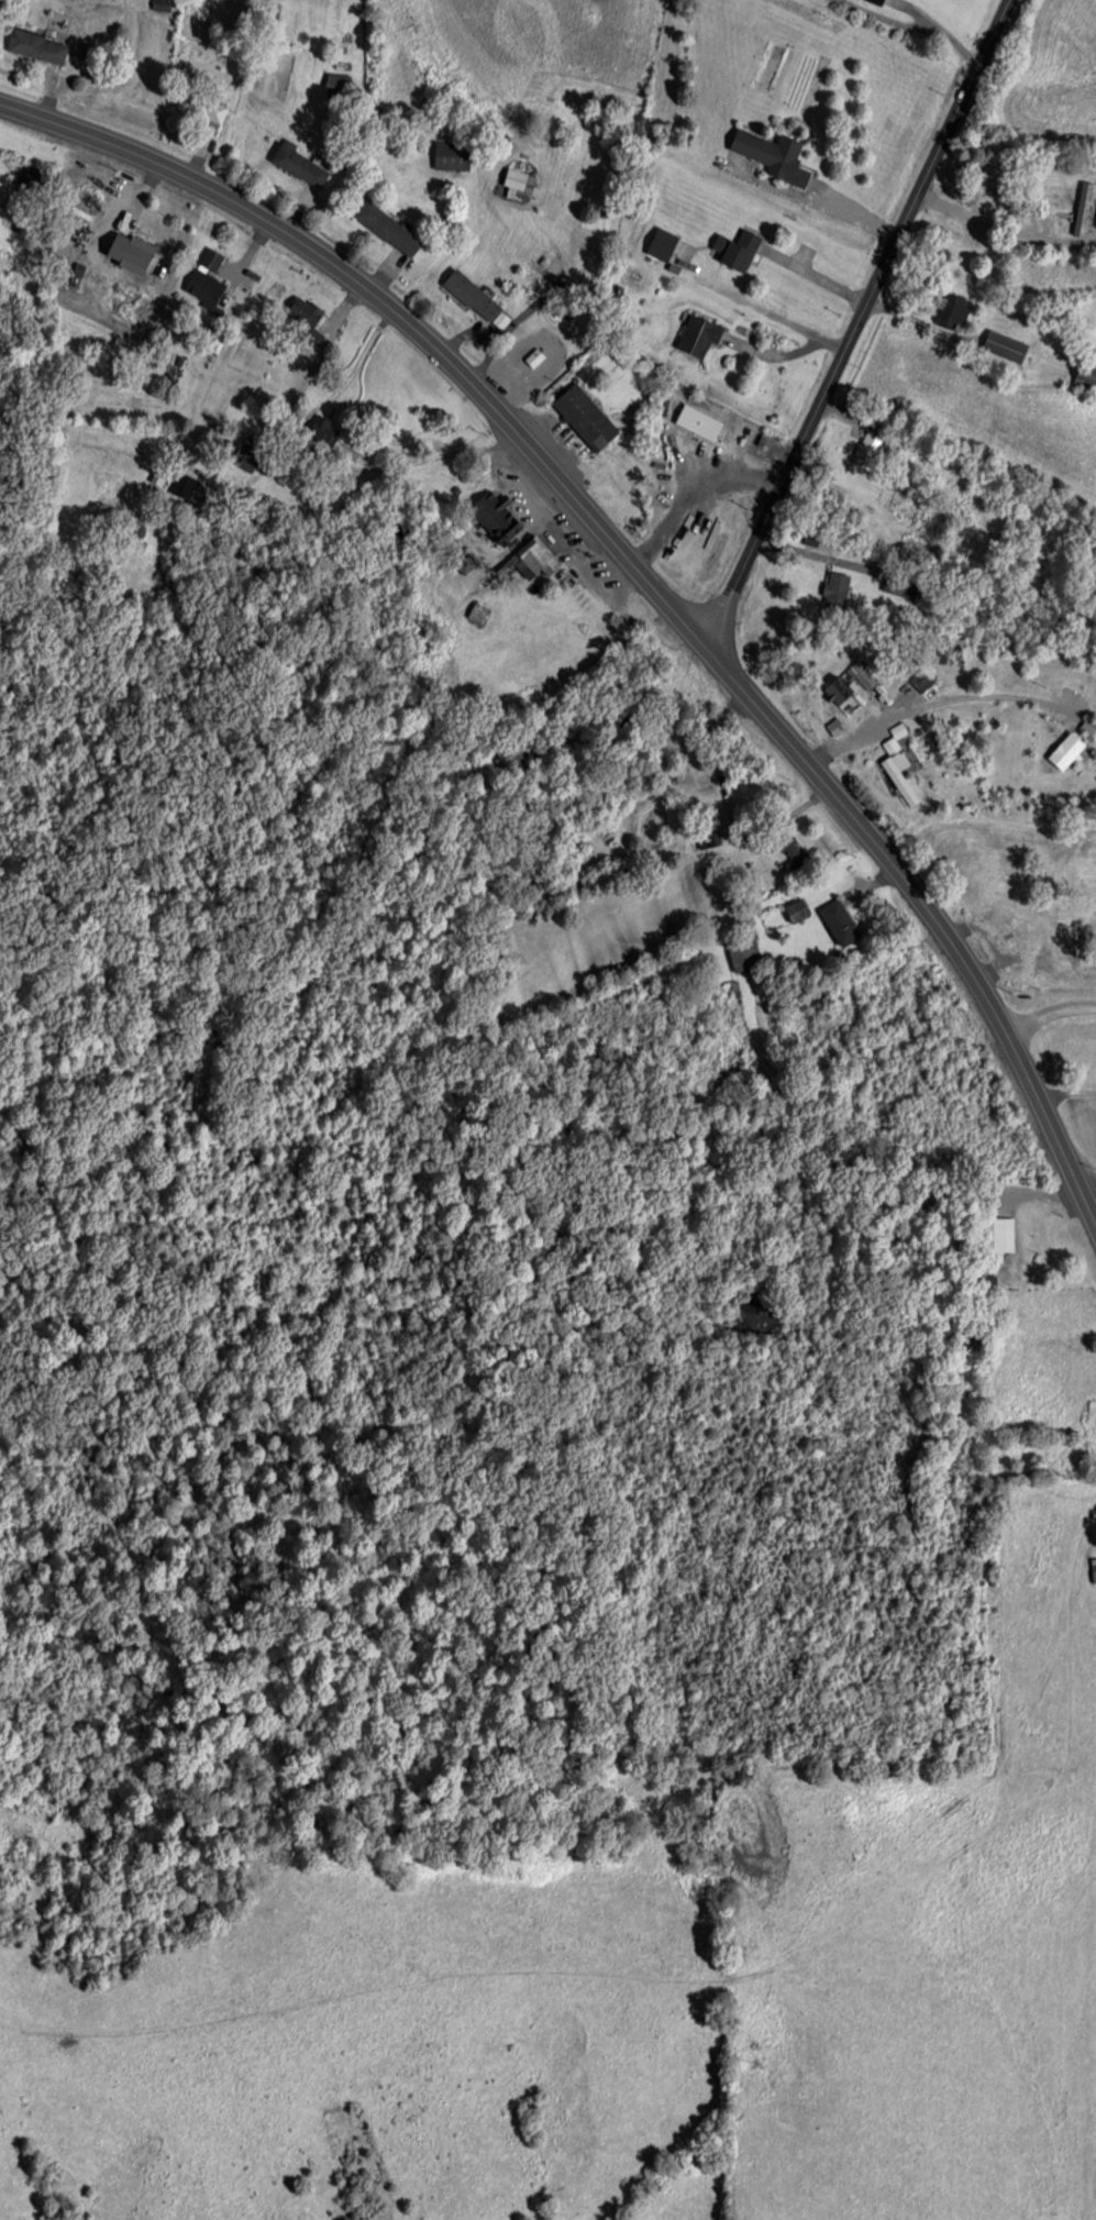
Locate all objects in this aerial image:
building: (877, 1)
building: (36, 46)
building: (211, 111)
building: (451, 155)
building: (773, 155)
building: (299, 165)
building: (519, 179)
building: (387, 228)
building: (170, 229)
building: (662, 244)
building: (737, 250)
building: (210, 258)
building: (204, 286)
building: (476, 299)
building: (303, 311)
building: (952, 311)
road: (854, 322)
building: (698, 335)
building: (1004, 345)
building: (540, 351)
building: (1086, 372)
building: (585, 416)
building: (698, 421)
building: (323, 430)
building: (248, 451)
building: (866, 451)
building: (496, 516)
building: (916, 517)
building: (536, 556)
road: (635, 567)
building: (898, 583)
building: (837, 593)
building: (478, 612)
building: (919, 677)
building: (848, 682)
building: (1087, 727)
building: (1065, 749)
building: (898, 763)
building: (709, 831)
building: (791, 849)
building: (955, 865)
building: (797, 908)
building: (839, 920)
building: (1008, 931)
building: (743, 953)
building: (996, 1233)

